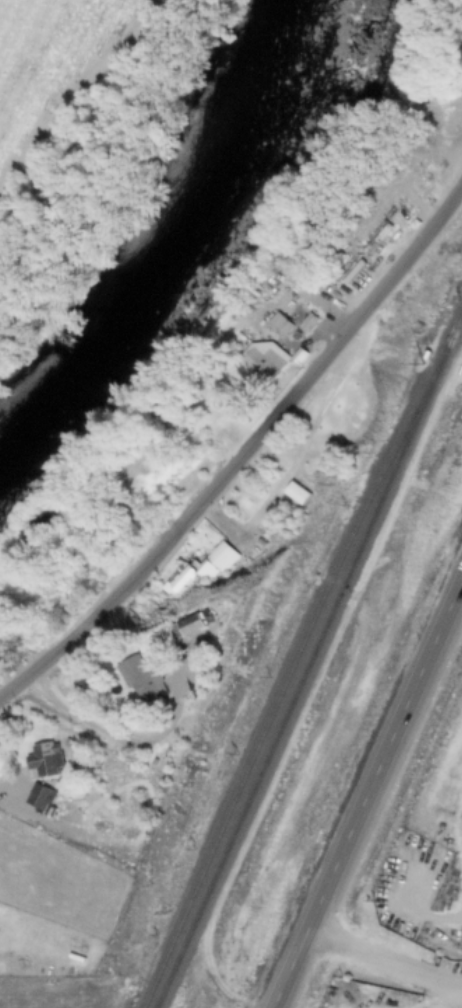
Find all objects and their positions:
road: (84, 98)
building: (280, 322)
building: (309, 322)
railway: (441, 355)
building: (302, 356)
building: (265, 361)
road: (245, 457)
building: (299, 494)
building: (209, 565)
building: (201, 626)
building: (154, 680)
railway: (277, 703)
railway: (290, 706)
road: (101, 727)
building: (47, 759)
road: (366, 790)
building: (44, 797)
road: (382, 959)

